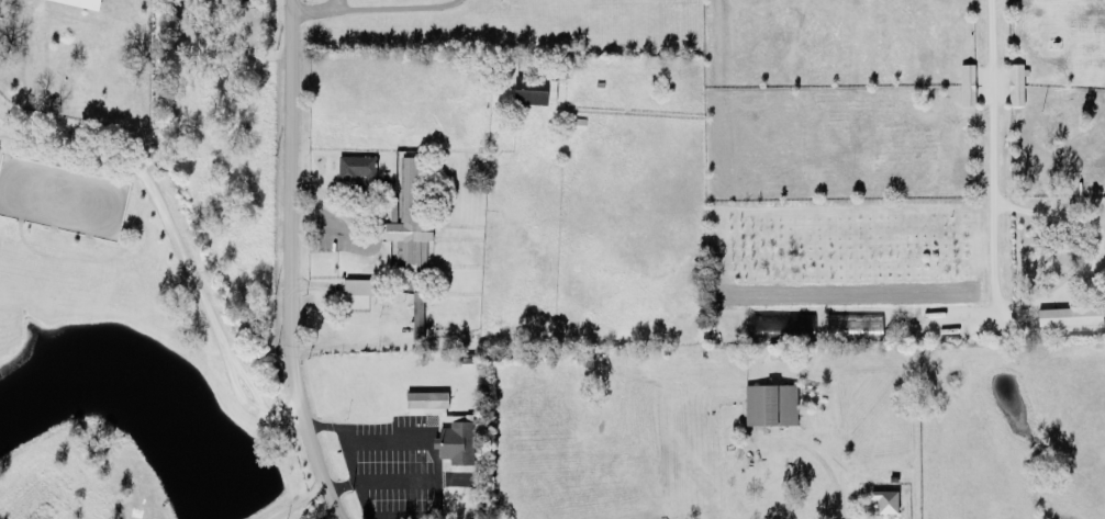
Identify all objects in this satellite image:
building: (88, 1)
road: (334, 2)
road: (371, 7)
road: (23, 68)
building: (967, 81)
building: (1015, 81)
building: (534, 87)
road: (991, 158)
building: (357, 167)
building: (409, 222)
road: (176, 230)
road: (1094, 245)
road: (288, 263)
building: (358, 284)
building: (416, 312)
building: (1069, 314)
building: (837, 323)
road: (1048, 328)
building: (425, 397)
building: (770, 402)
road: (432, 448)
road: (823, 459)
building: (884, 498)
road: (299, 504)

